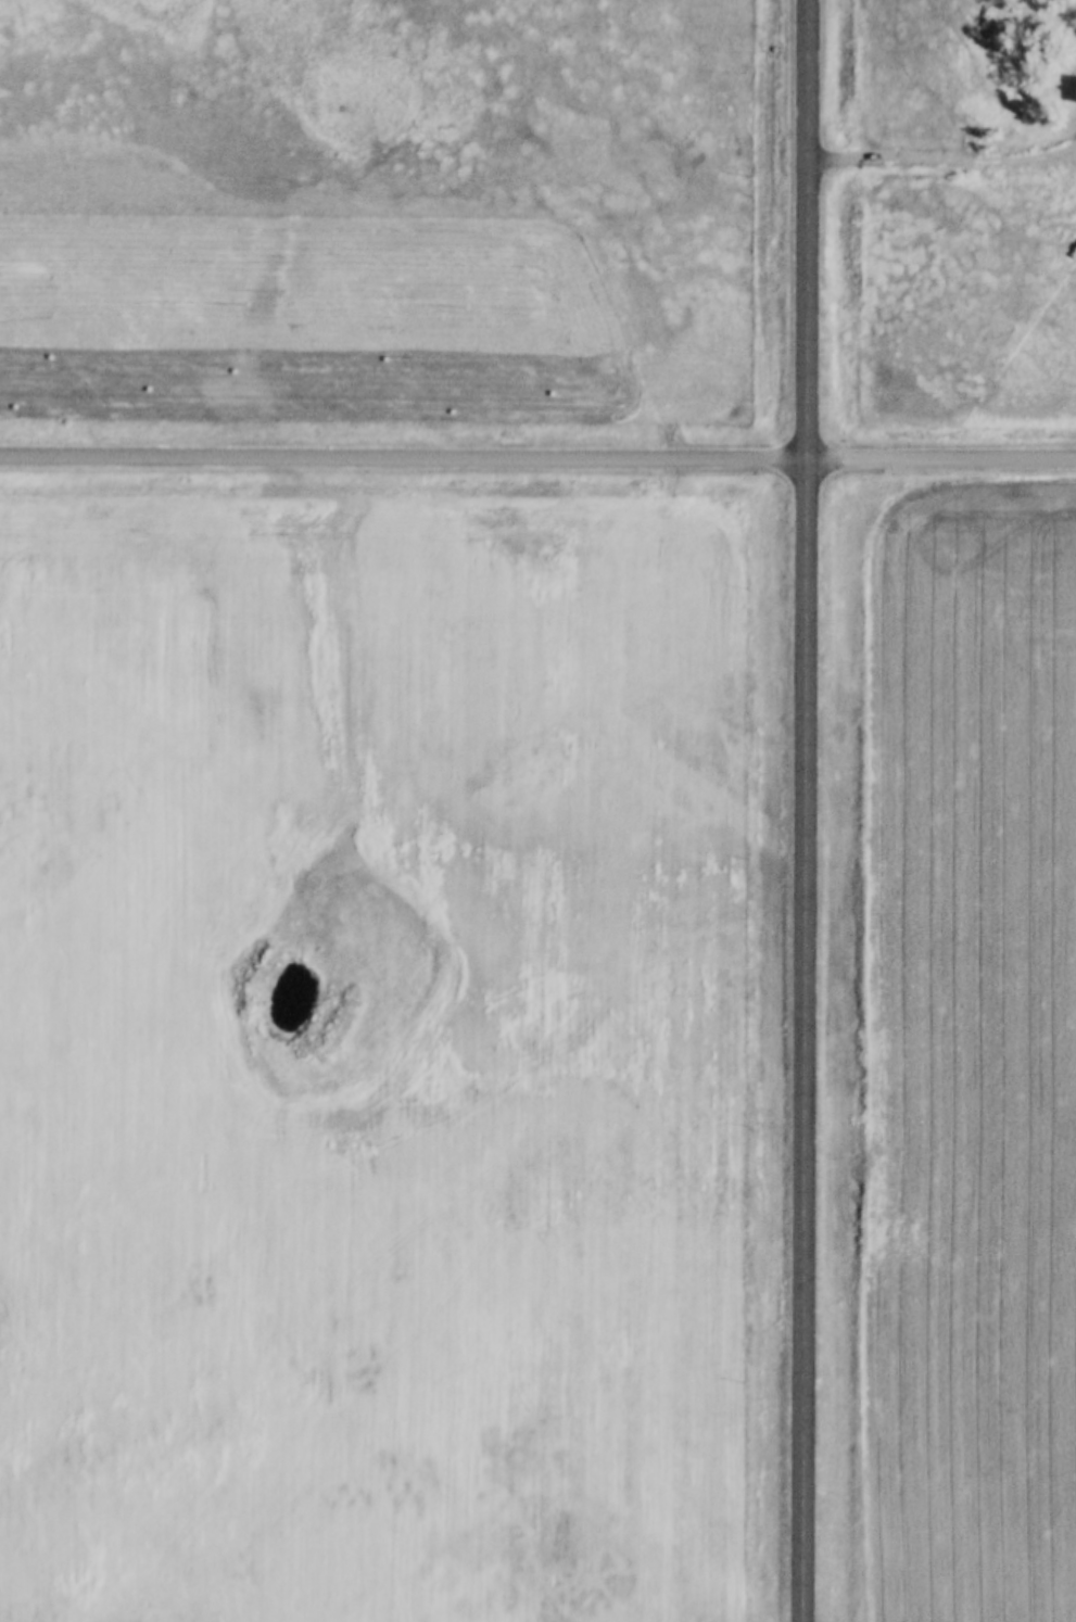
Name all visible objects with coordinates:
road: (941, 154)
road: (537, 454)
road: (803, 810)

